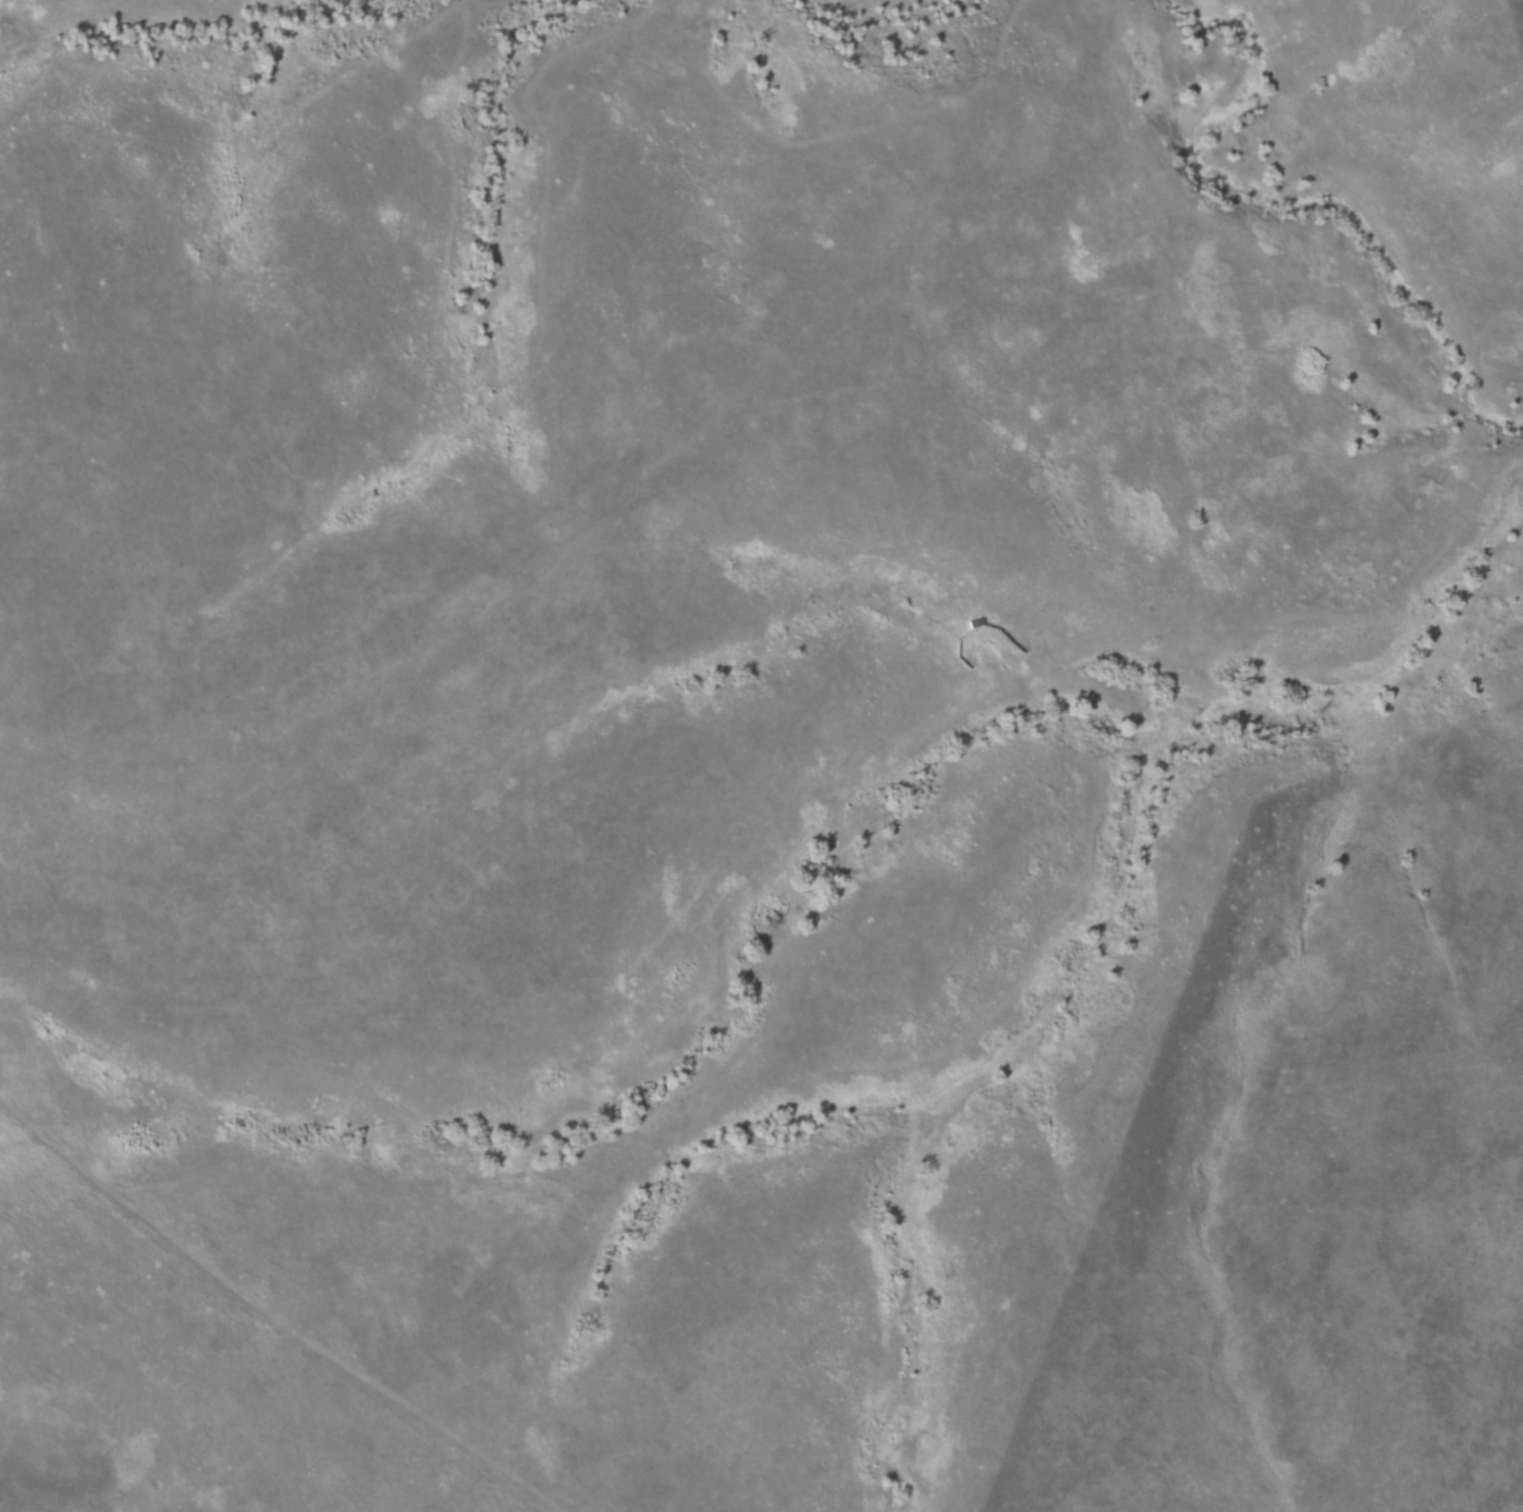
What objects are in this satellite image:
road: (170, 1231)

